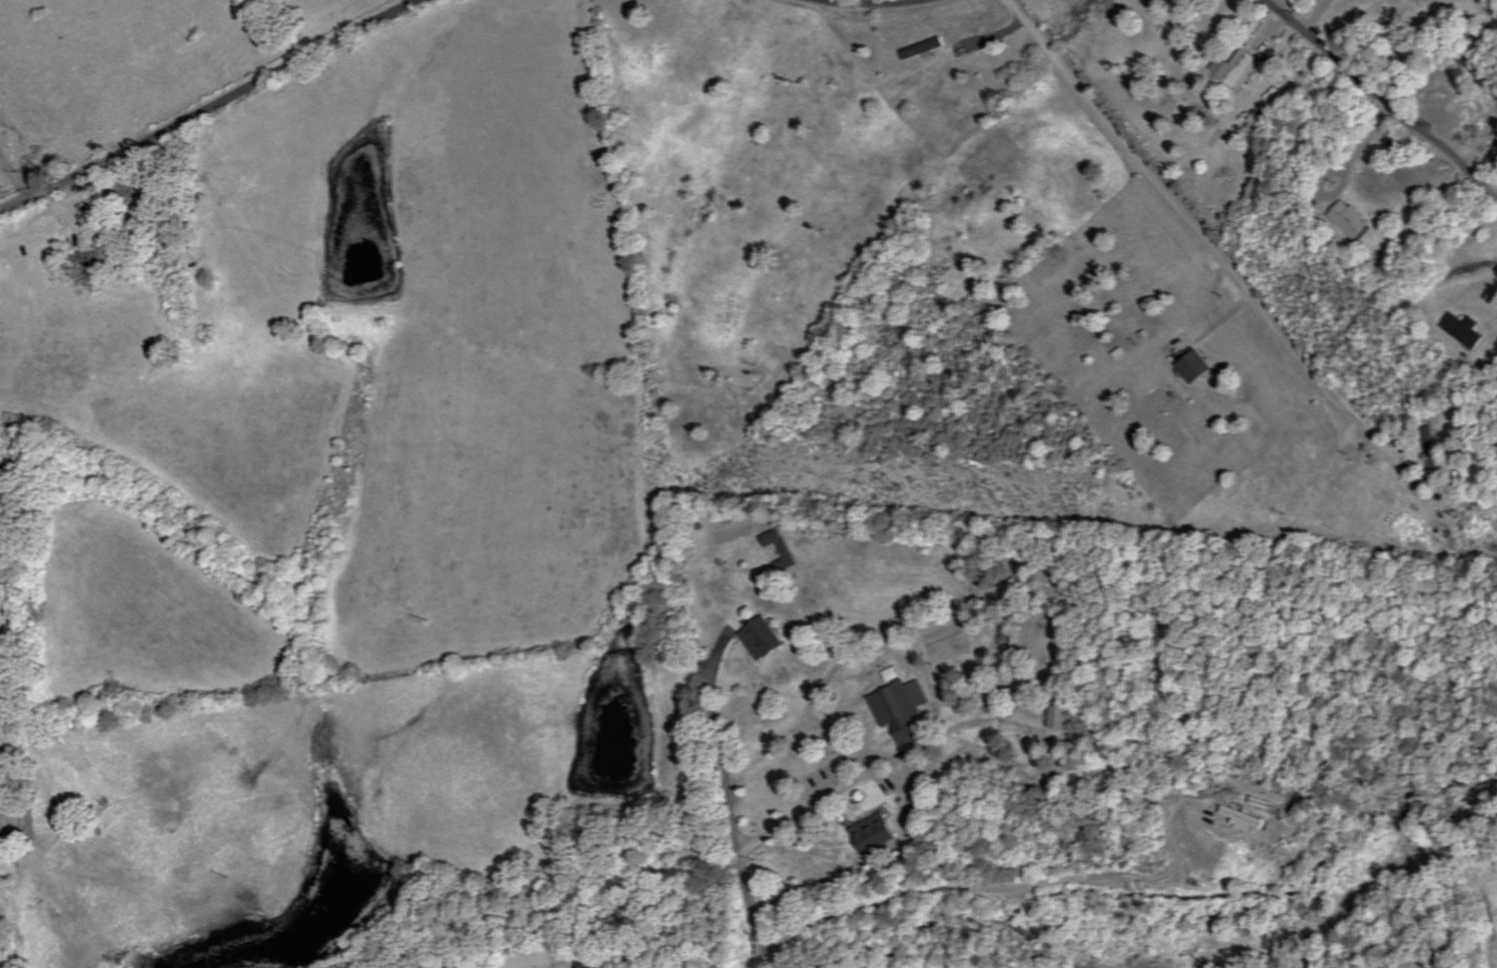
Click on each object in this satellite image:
road: (873, 4)
building: (928, 49)
building: (1241, 69)
road: (1380, 101)
road: (213, 109)
building: (1353, 220)
road: (1202, 231)
building: (1468, 330)
building: (1198, 367)
building: (784, 550)
building: (766, 640)
building: (905, 709)
building: (1065, 718)
road: (737, 806)
building: (1247, 820)
building: (879, 835)
building: (592, 965)

